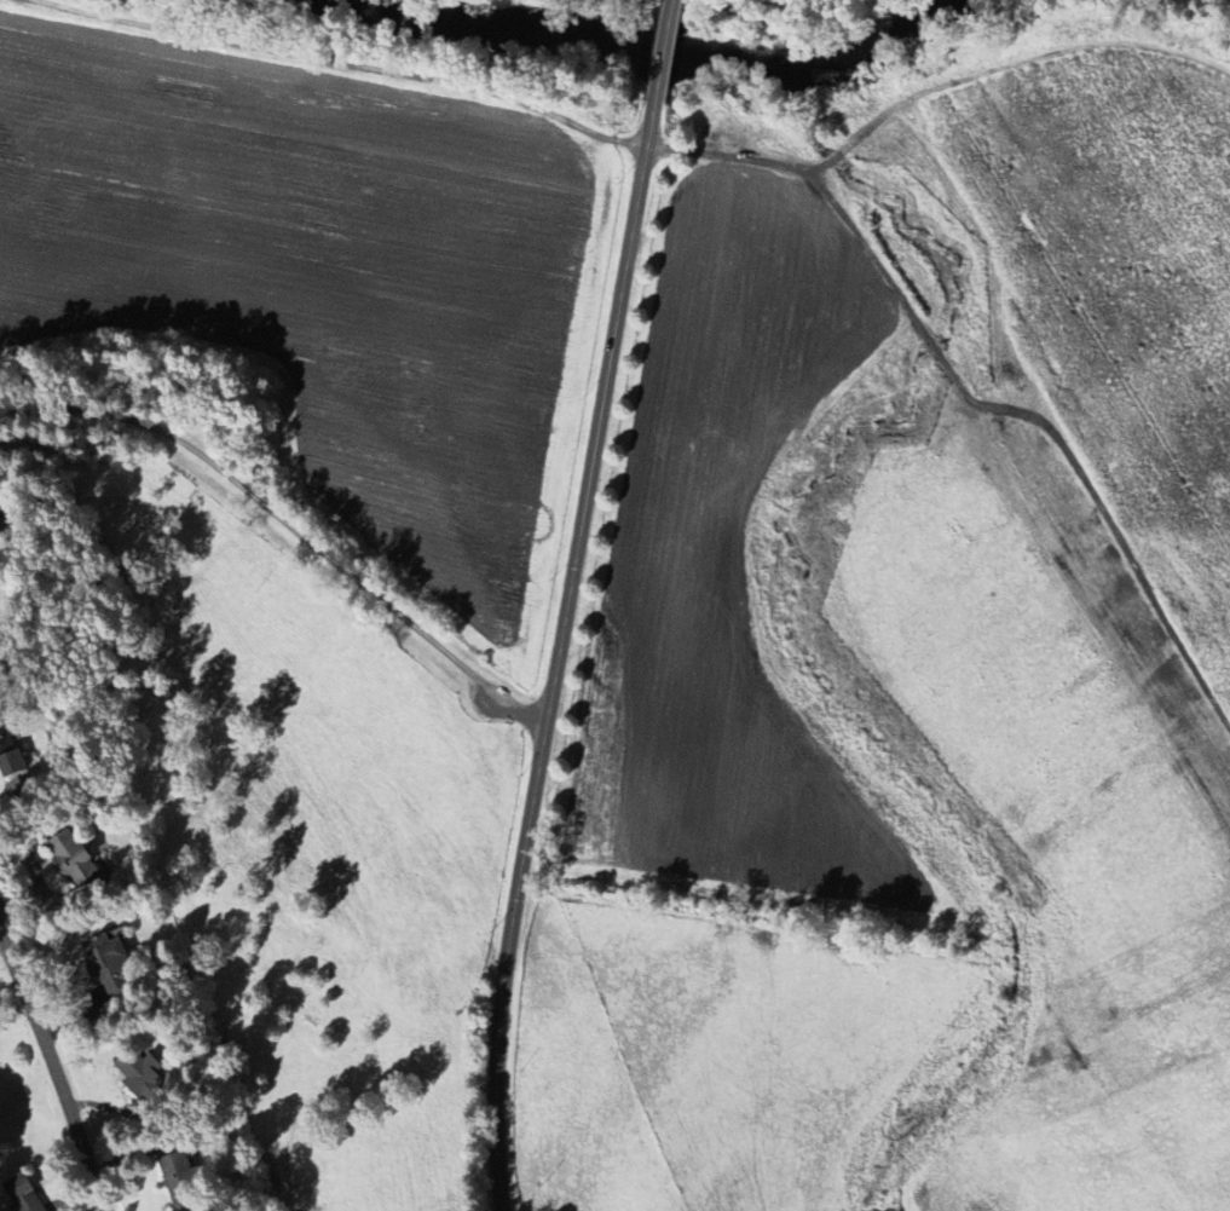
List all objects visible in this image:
road: (675, 0)
road: (588, 5)
road: (770, 12)
road: (665, 51)
river: (659, 52)
crop: (317, 270)
crop: (1103, 294)
road: (288, 525)
crop: (737, 583)
road: (558, 654)
building: (4, 738)
building: (11, 762)
crop: (1043, 815)
crop: (294, 842)
building: (71, 860)
building: (104, 958)
crop: (720, 1057)
road: (52, 1067)
building: (139, 1073)
building: (179, 1180)
building: (23, 1194)

